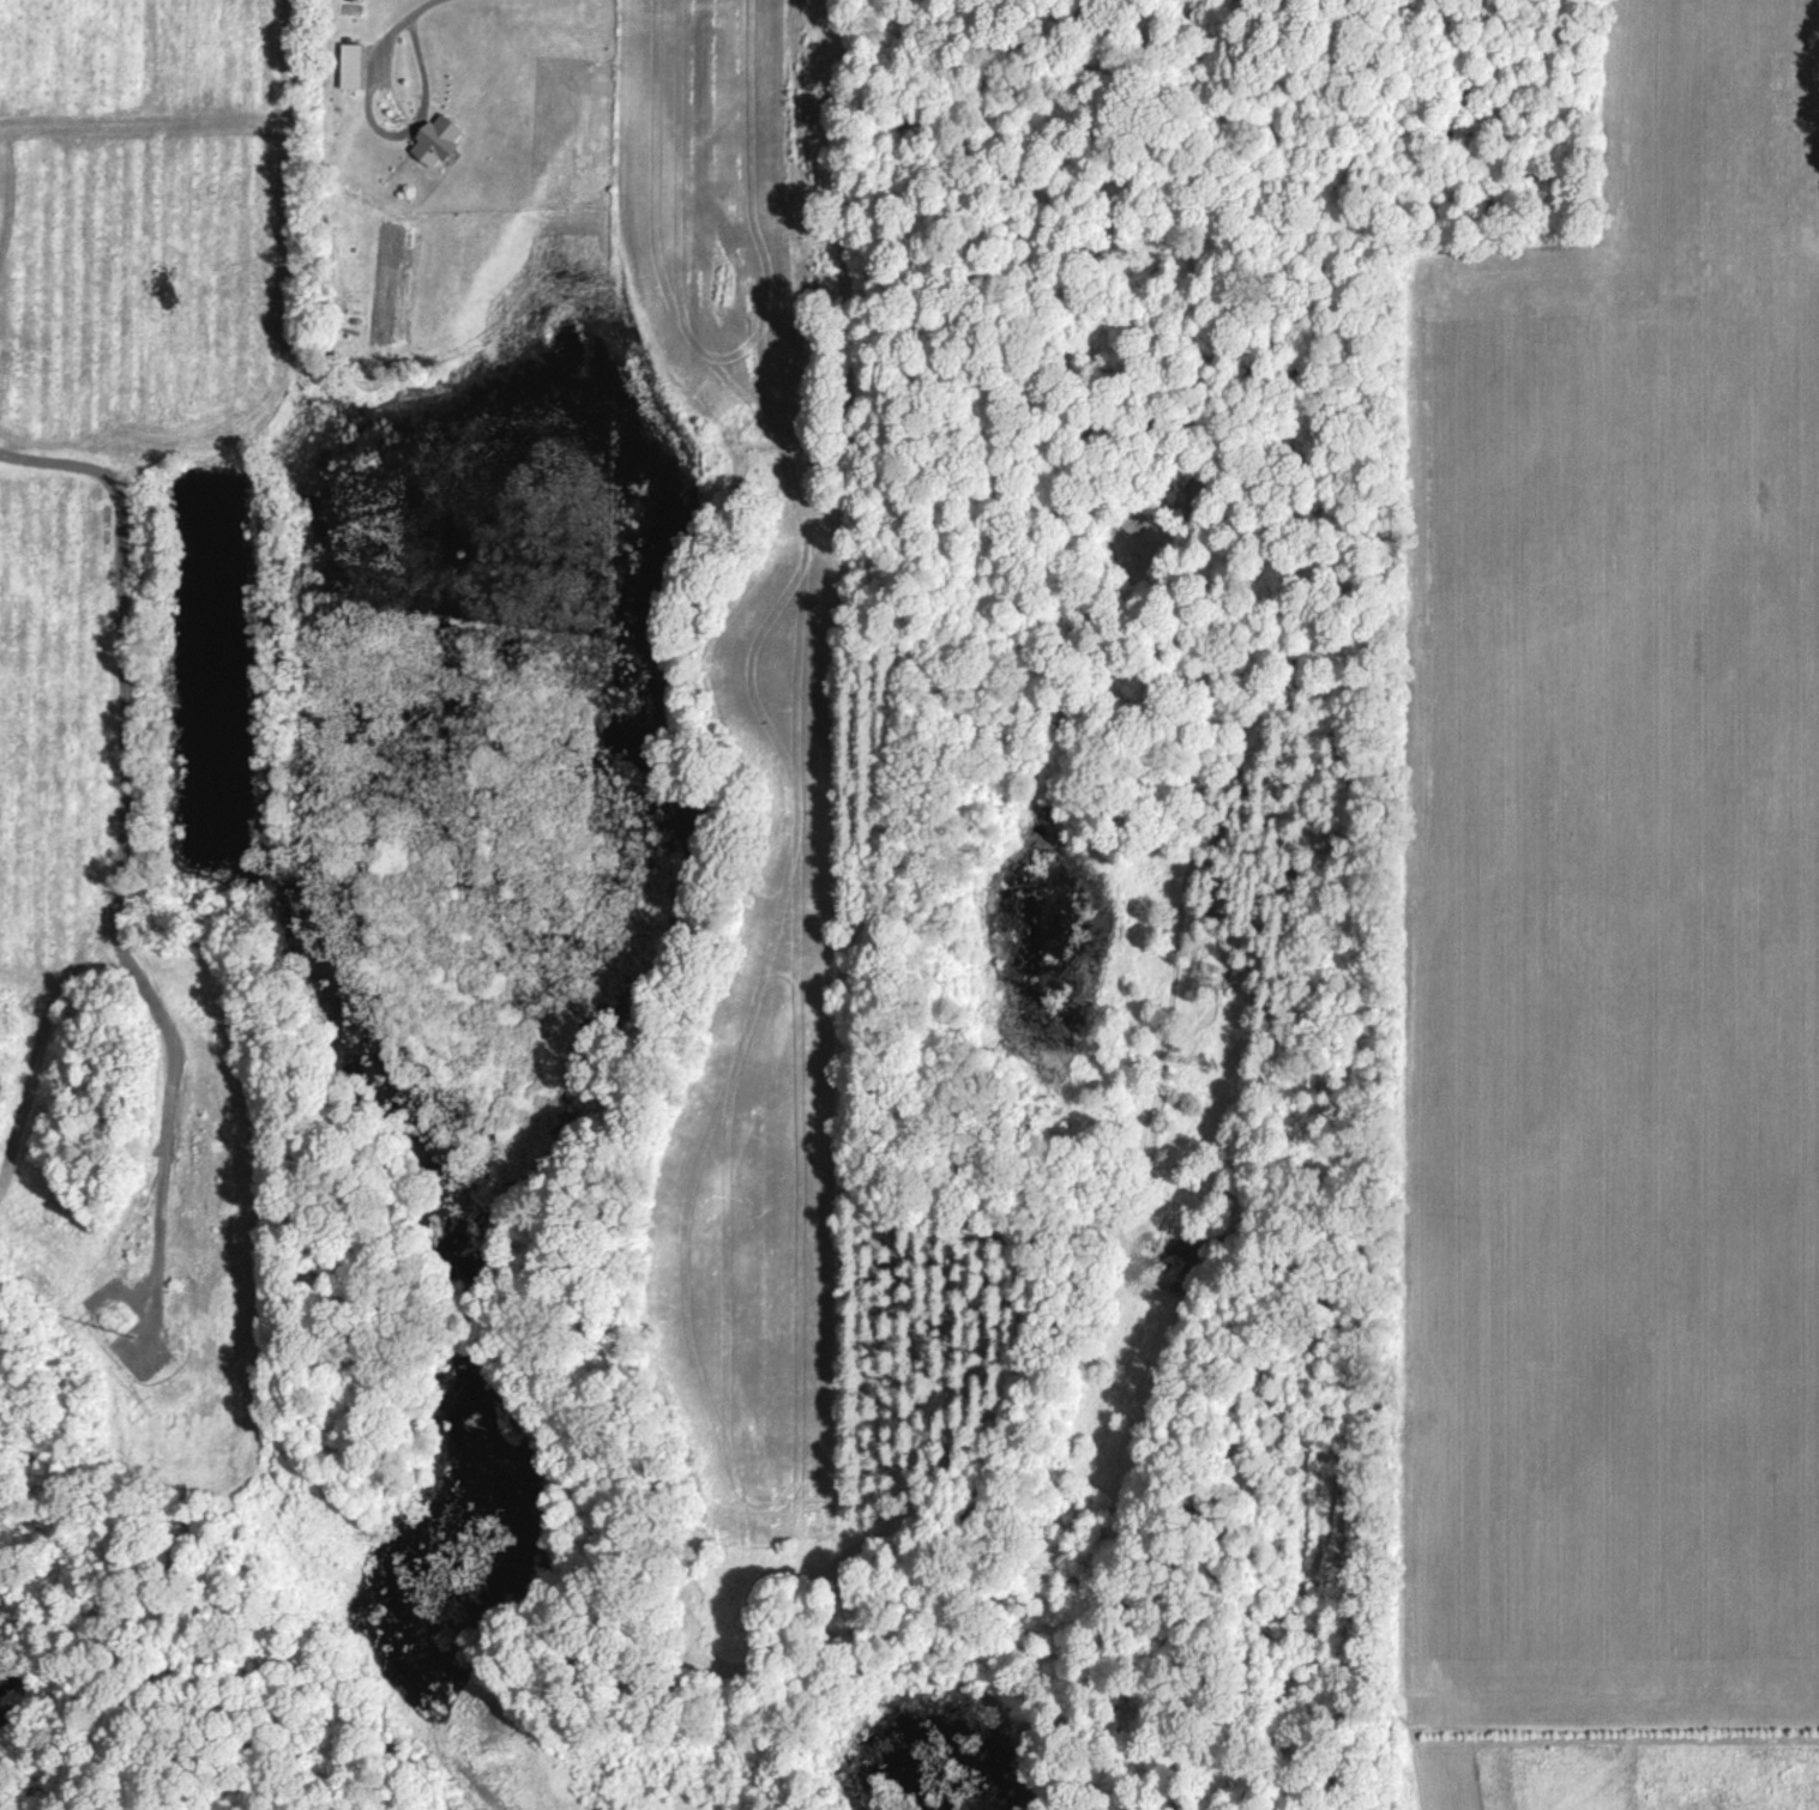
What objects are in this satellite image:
road: (404, 23)
building: (348, 64)
building: (434, 138)
power tower: (122, 1308)

